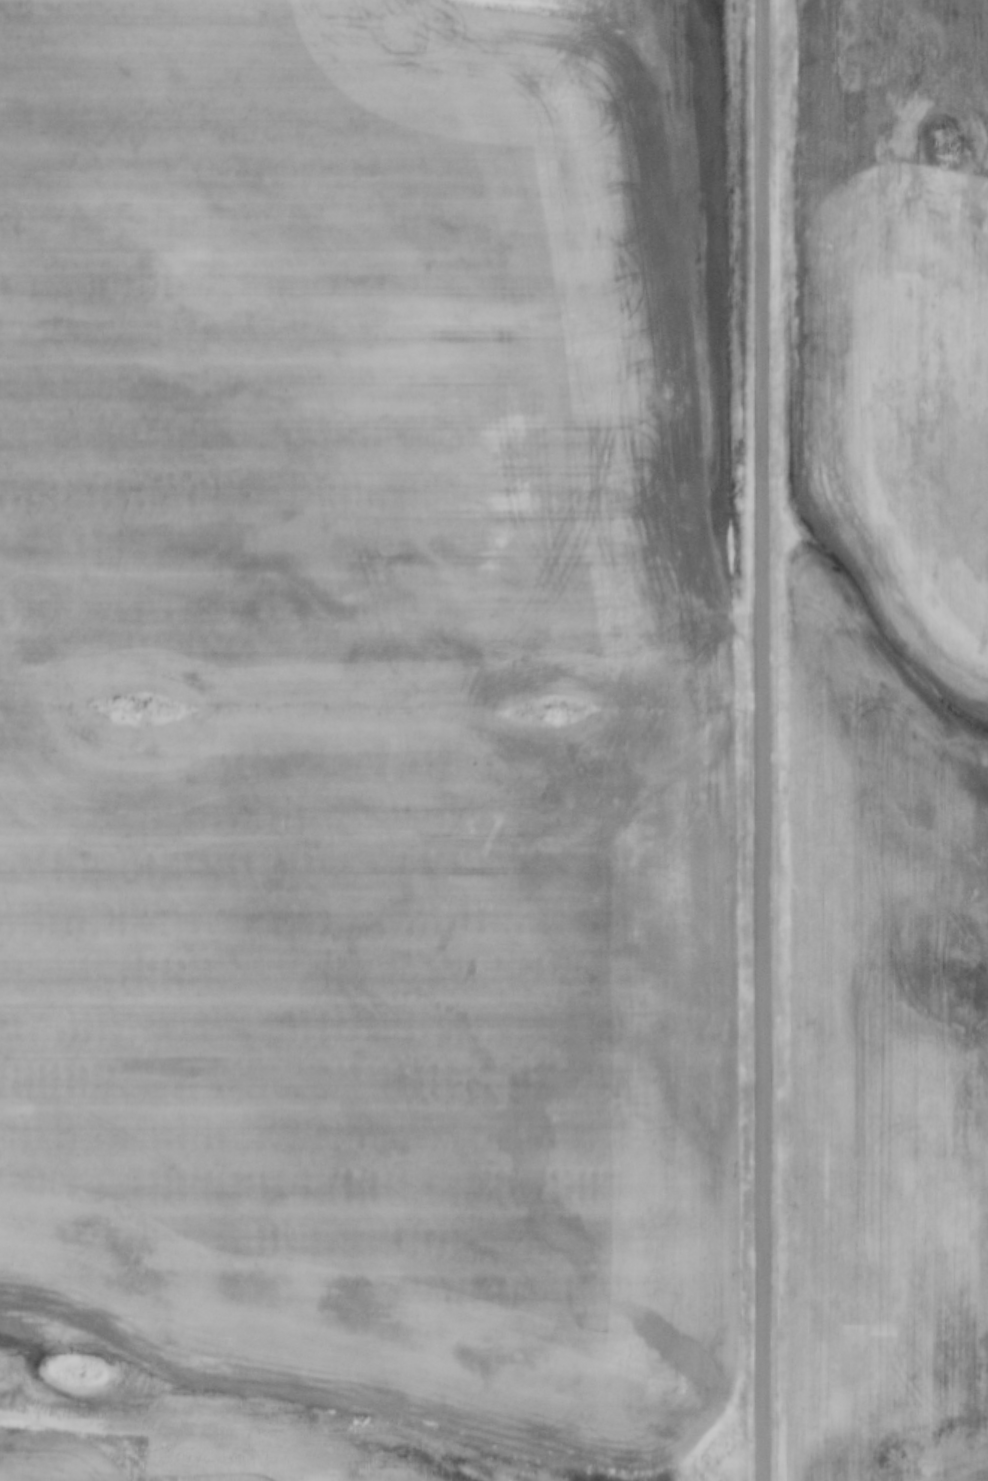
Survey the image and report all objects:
road: (760, 740)

